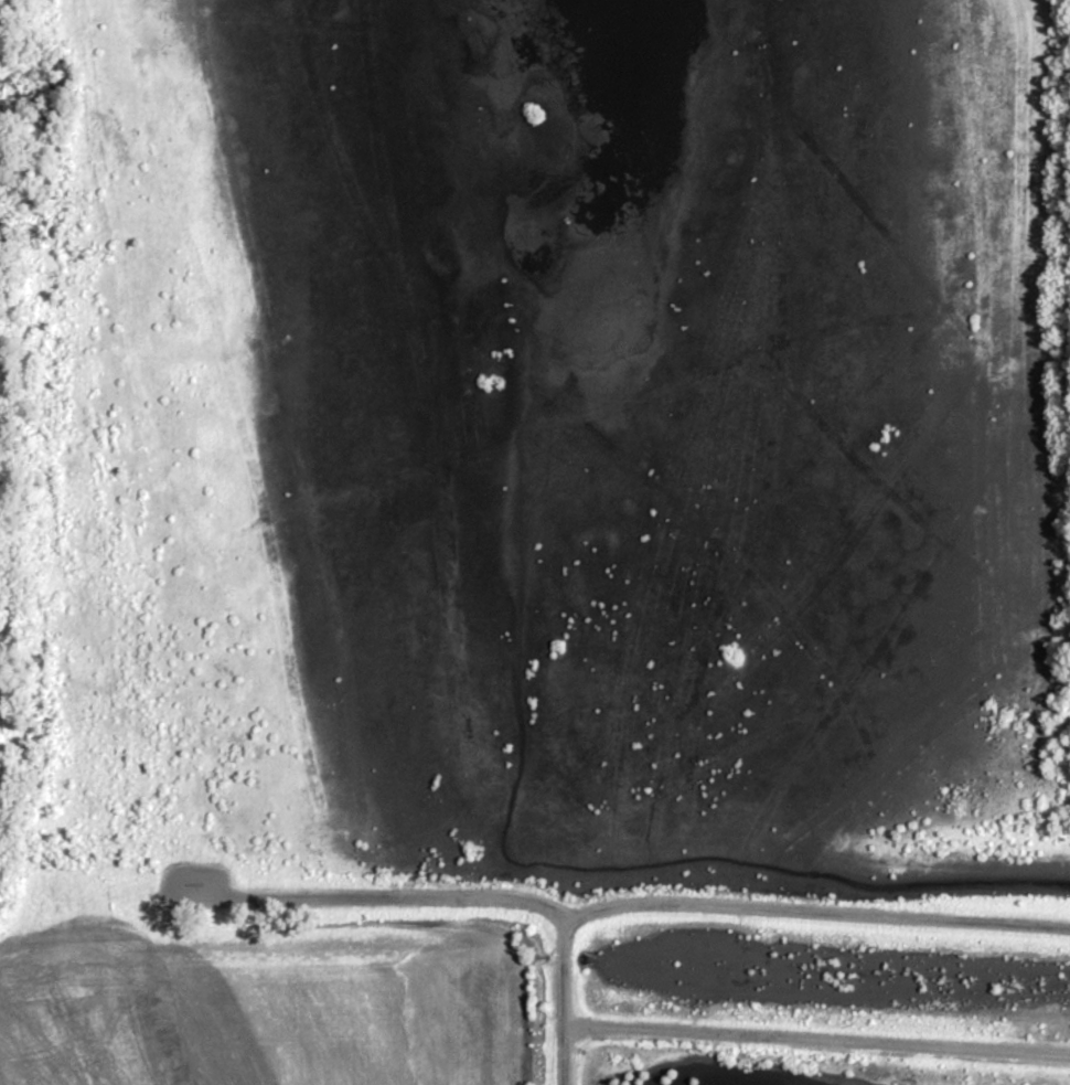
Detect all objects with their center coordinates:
road: (354, 897)
road: (738, 908)
road: (817, 1040)

